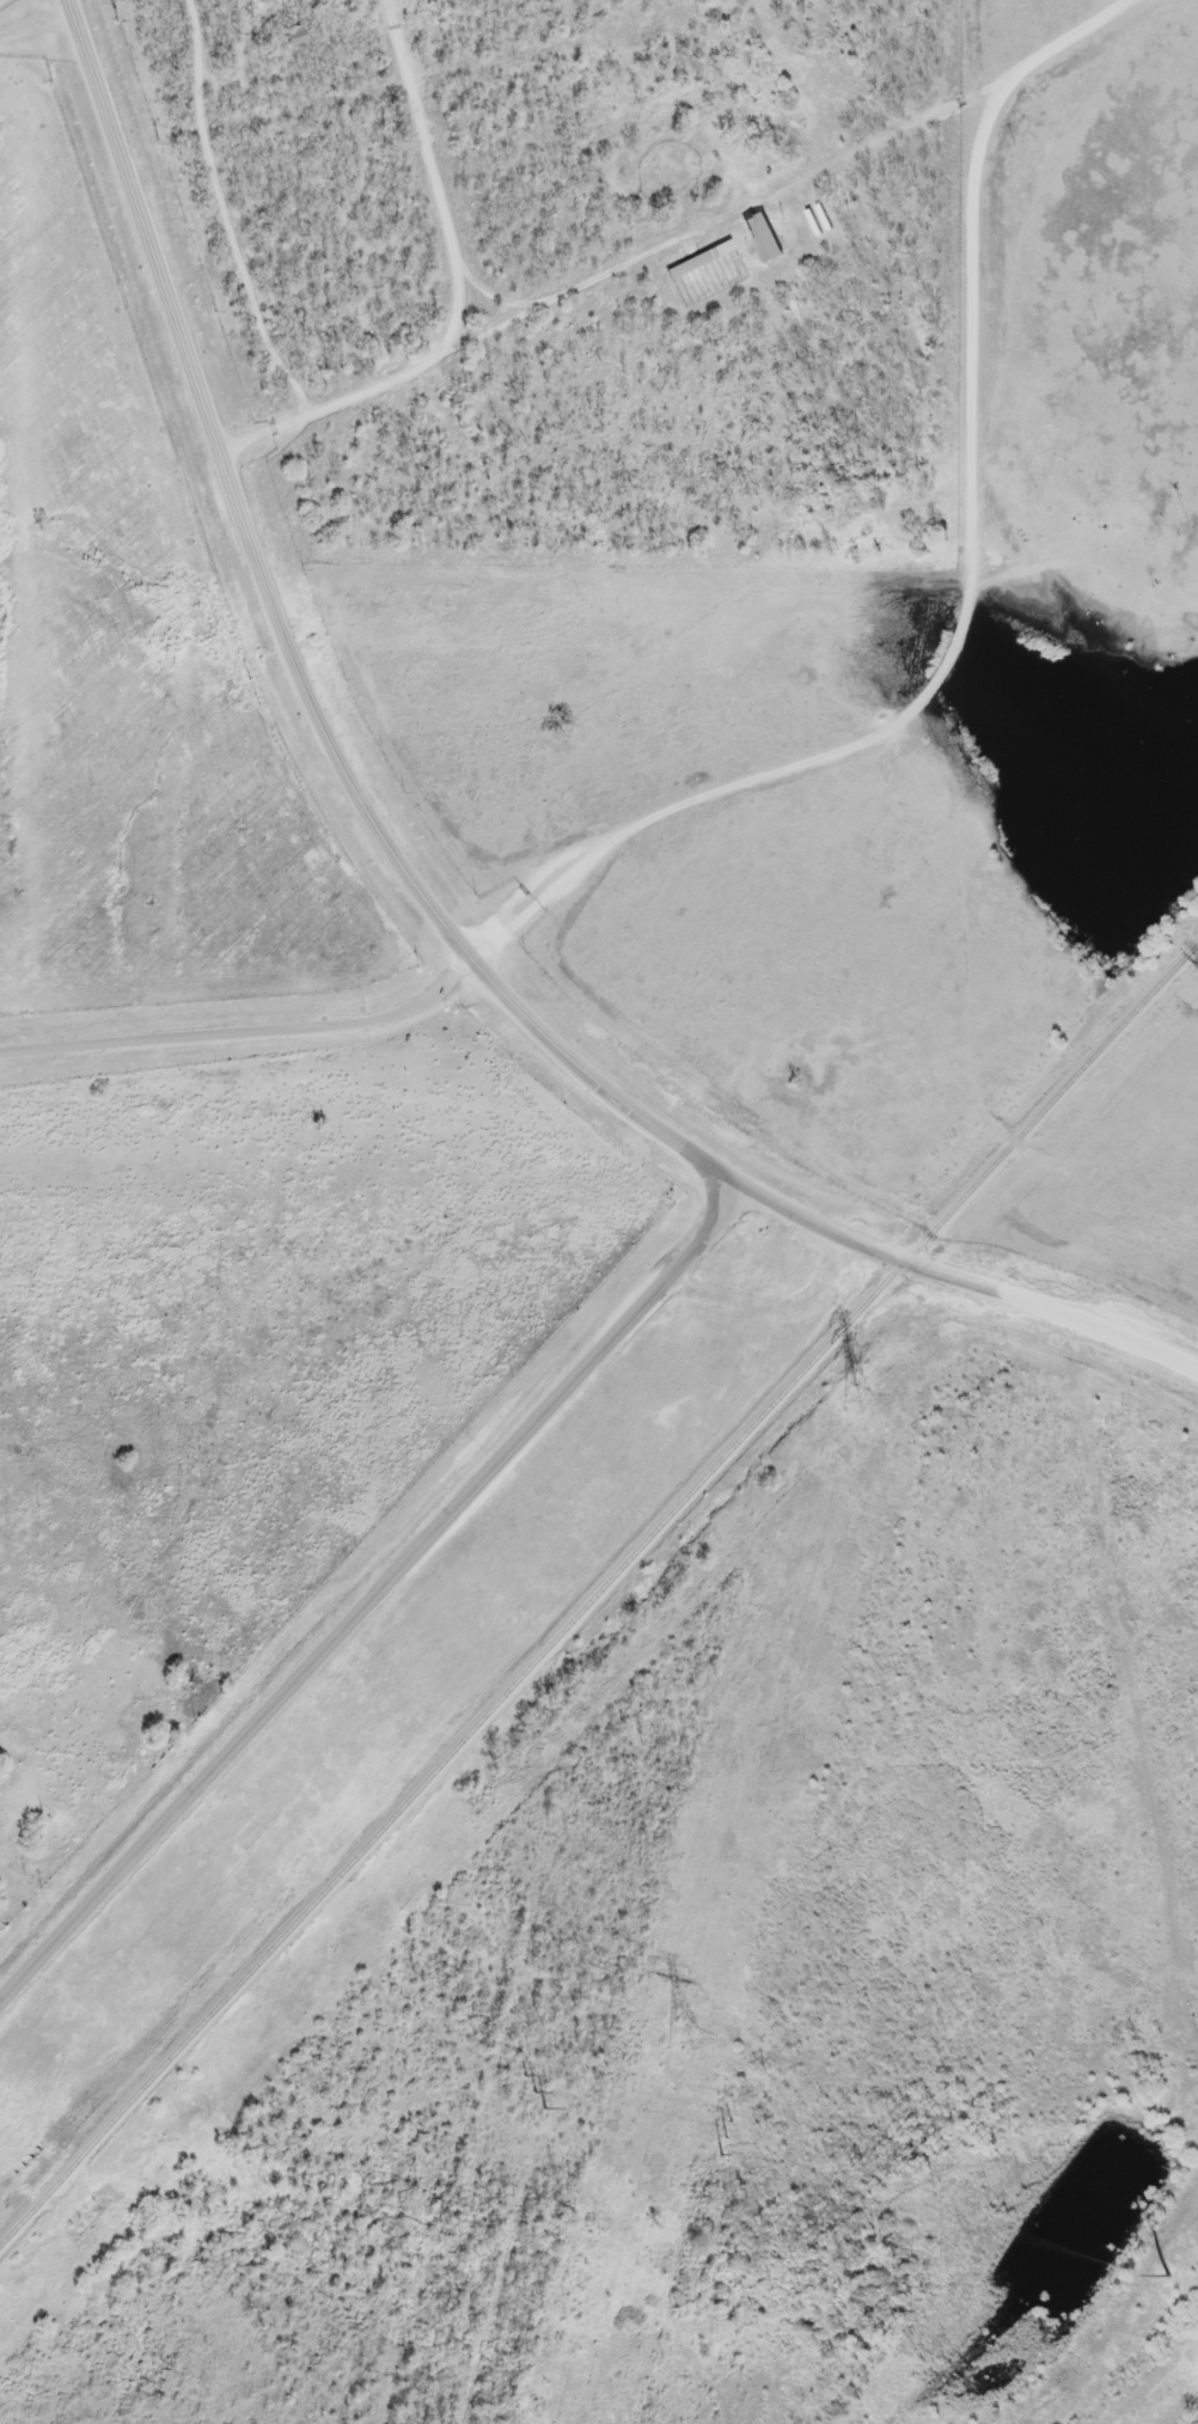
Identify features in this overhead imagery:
road: (36, 24)
building: (294, 38)
road: (436, 178)
road: (719, 219)
building: (762, 239)
building: (699, 261)
road: (491, 295)
road: (332, 408)
road: (285, 639)
road: (952, 641)
road: (244, 1027)
road: (800, 1215)
road: (1053, 1313)
power tower: (855, 1400)
railway: (597, 1590)
road: (374, 1596)
power tower: (683, 2039)
power tower: (533, 2095)
power tower: (1167, 2277)

